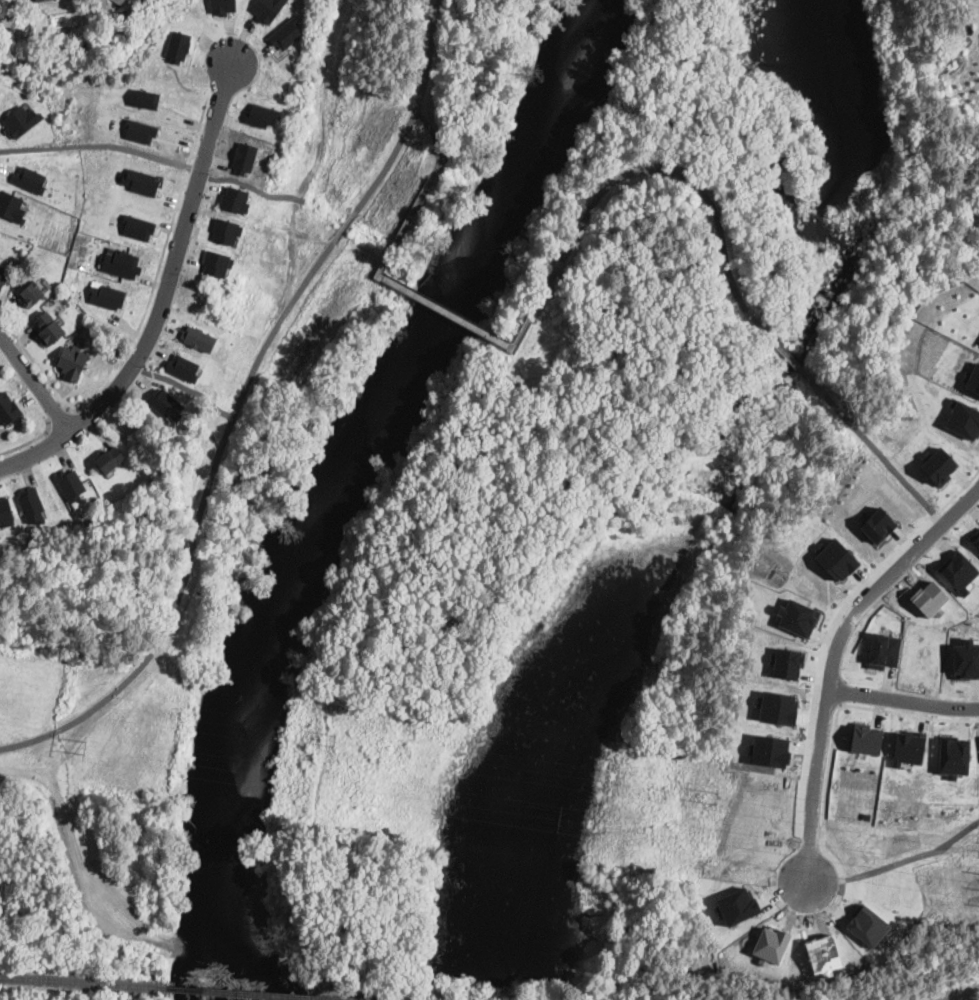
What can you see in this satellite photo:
building: (39, 0)
building: (122, 2)
building: (222, 6)
building: (266, 8)
building: (285, 33)
building: (177, 45)
building: (146, 97)
building: (261, 114)
building: (20, 118)
building: (139, 130)
road: (437, 141)
road: (94, 144)
building: (244, 157)
road: (672, 173)
building: (30, 178)
building: (139, 180)
building: (235, 198)
building: (12, 204)
park: (377, 214)
road: (172, 216)
building: (137, 226)
building: (225, 230)
building: (120, 262)
building: (215, 262)
building: (2, 276)
building: (31, 294)
building: (106, 294)
road: (163, 298)
road: (431, 300)
building: (48, 329)
building: (197, 337)
road: (782, 353)
building: (73, 361)
building: (182, 366)
road: (39, 368)
building: (973, 378)
road: (35, 384)
road: (240, 399)
building: (164, 403)
building: (8, 409)
road: (59, 417)
building: (964, 419)
road: (29, 438)
road: (876, 453)
building: (110, 459)
building: (938, 465)
building: (70, 483)
river: (363, 484)
building: (32, 504)
building: (5, 511)
building: (877, 524)
building: (976, 538)
building: (836, 558)
road: (822, 652)
road: (834, 657)
building: (786, 662)
road: (903, 699)
building: (865, 738)
power tower: (330, 740)
road: (831, 744)
power tower: (83, 746)
building: (907, 747)
building: (953, 754)
park: (98, 774)
power tower: (713, 796)
road: (61, 812)
power tower: (555, 818)
road: (823, 847)
road: (913, 857)
road: (121, 918)
road: (112, 945)

